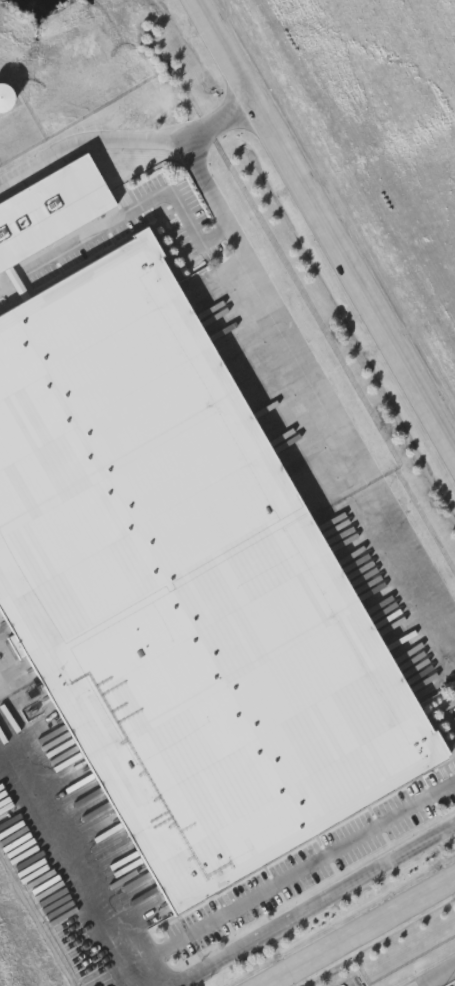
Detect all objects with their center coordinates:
building: (7, 97)
road: (227, 112)
road: (98, 137)
road: (322, 231)
road: (265, 307)
road: (406, 558)
building: (177, 570)
road: (317, 850)
road: (70, 868)
road: (330, 891)
road: (356, 929)
road: (153, 941)
road: (434, 975)
road: (188, 976)

